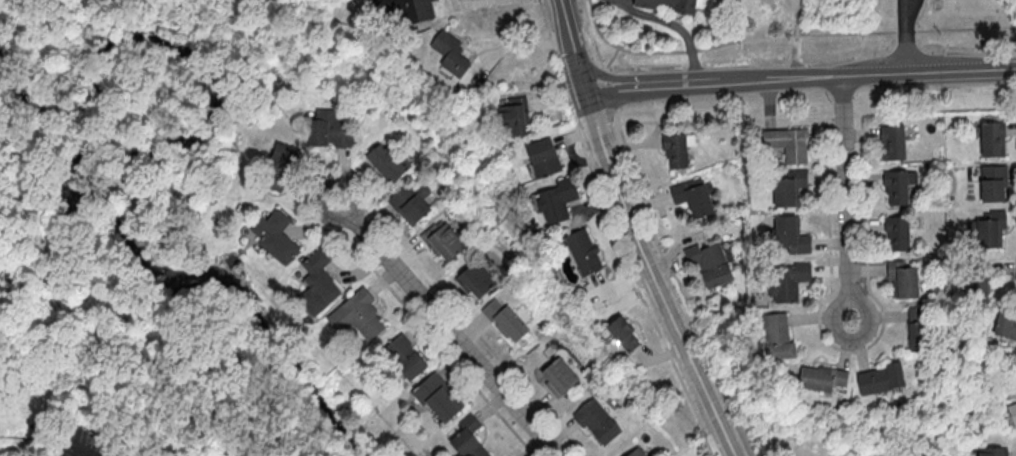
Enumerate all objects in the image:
road: (468, 3)
building: (672, 4)
building: (402, 10)
road: (566, 27)
road: (579, 34)
road: (790, 35)
road: (905, 35)
road: (794, 38)
road: (516, 46)
building: (450, 53)
road: (561, 62)
road: (578, 70)
road: (603, 76)
road: (799, 76)
road: (588, 102)
building: (514, 115)
road: (747, 117)
road: (595, 118)
building: (329, 128)
building: (992, 138)
building: (892, 142)
building: (787, 143)
building: (677, 149)
building: (542, 157)
river: (76, 158)
building: (384, 162)
building: (281, 167)
building: (992, 183)
building: (900, 186)
building: (788, 187)
building: (692, 196)
road: (847, 197)
building: (556, 199)
building: (407, 204)
building: (990, 229)
building: (897, 233)
building: (790, 234)
building: (275, 235)
building: (441, 239)
building: (583, 251)
road: (660, 255)
building: (709, 263)
building: (475, 278)
road: (631, 279)
building: (903, 279)
building: (787, 281)
building: (318, 282)
building: (978, 289)
road: (660, 290)
building: (357, 315)
building: (503, 319)
building: (1005, 325)
road: (448, 328)
building: (915, 328)
building: (622, 333)
building: (777, 336)
road: (851, 350)
building: (405, 356)
building: (558, 376)
building: (821, 377)
building: (881, 378)
building: (437, 396)
building: (1012, 412)
building: (596, 421)
building: (468, 438)
parking lot: (86, 444)
building: (992, 451)
building: (635, 452)
road: (83, 453)

